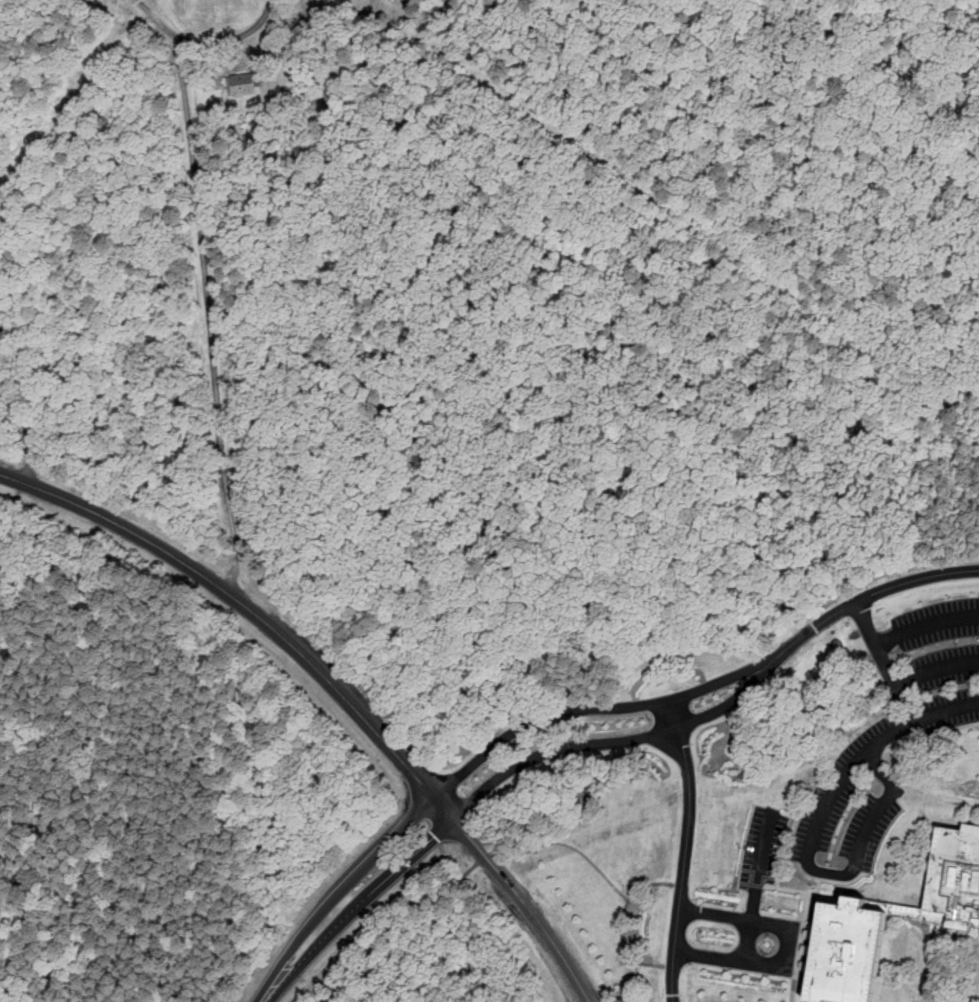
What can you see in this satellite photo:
road: (153, 14)
road: (227, 40)
building: (243, 84)
road: (209, 315)
building: (1, 332)
road: (29, 431)
road: (879, 590)
road: (252, 610)
road: (927, 622)
parking lot: (933, 668)
road: (731, 676)
road: (896, 677)
road: (739, 693)
road: (906, 701)
road: (538, 717)
road: (918, 720)
road: (555, 748)
parking lot: (869, 791)
parking lot: (764, 845)
road: (686, 849)
road: (481, 857)
road: (393, 871)
road: (842, 873)
road: (759, 885)
road: (337, 890)
road: (526, 906)
building: (898, 911)
road: (396, 925)
road: (788, 943)
road: (299, 965)

